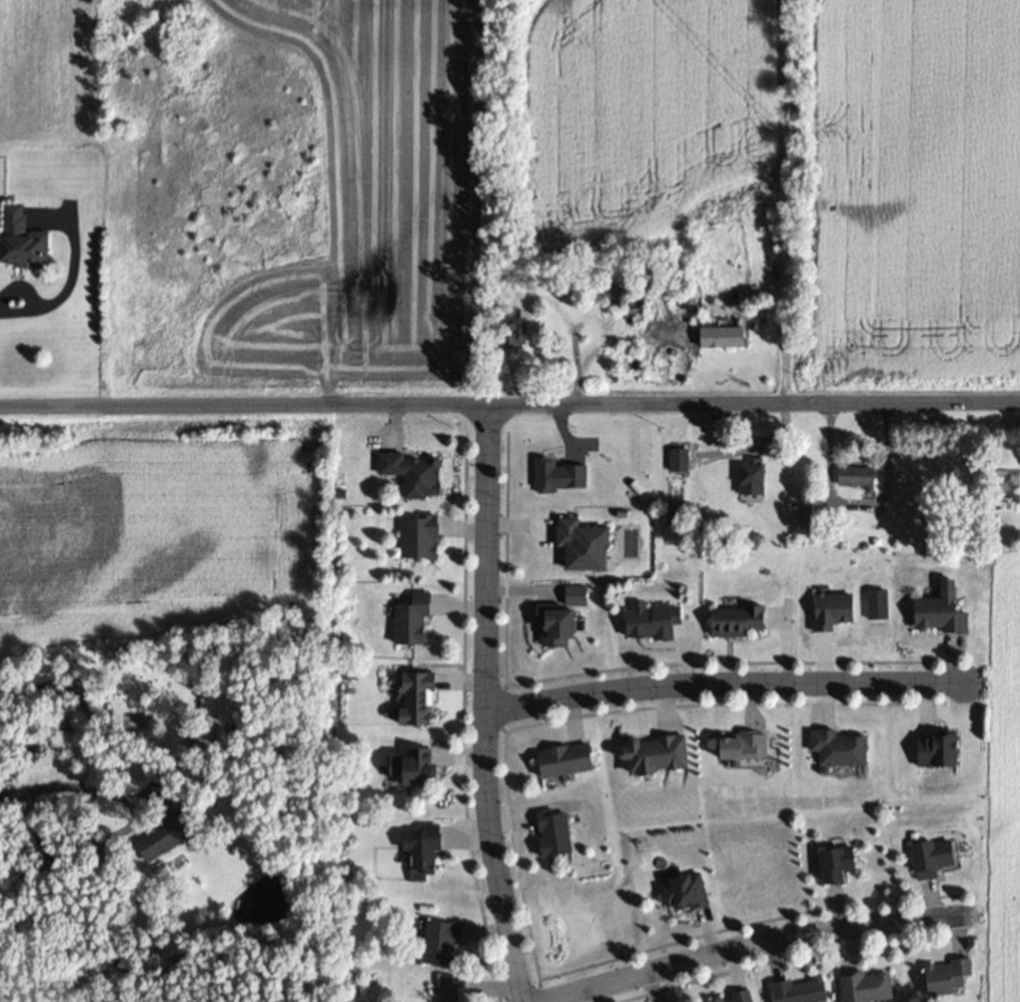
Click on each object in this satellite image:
building: (27, 246)
road: (71, 277)
building: (629, 307)
building: (521, 338)
building: (726, 342)
road: (510, 405)
road: (746, 450)
building: (683, 464)
building: (420, 480)
building: (757, 482)
building: (862, 482)
road: (858, 508)
building: (426, 543)
building: (590, 550)
building: (838, 616)
building: (946, 619)
building: (420, 626)
building: (659, 626)
building: (744, 627)
building: (564, 632)
road: (726, 689)
building: (221, 701)
building: (424, 703)
road: (488, 705)
building: (215, 742)
building: (751, 750)
building: (846, 752)
building: (662, 758)
building: (572, 764)
building: (422, 772)
road: (63, 785)
building: (560, 837)
building: (174, 842)
building: (430, 855)
building: (939, 862)
building: (843, 869)
building: (691, 898)
road: (754, 945)
building: (447, 946)
building: (953, 982)
building: (873, 990)
building: (459, 992)
building: (805, 994)
building: (747, 999)

